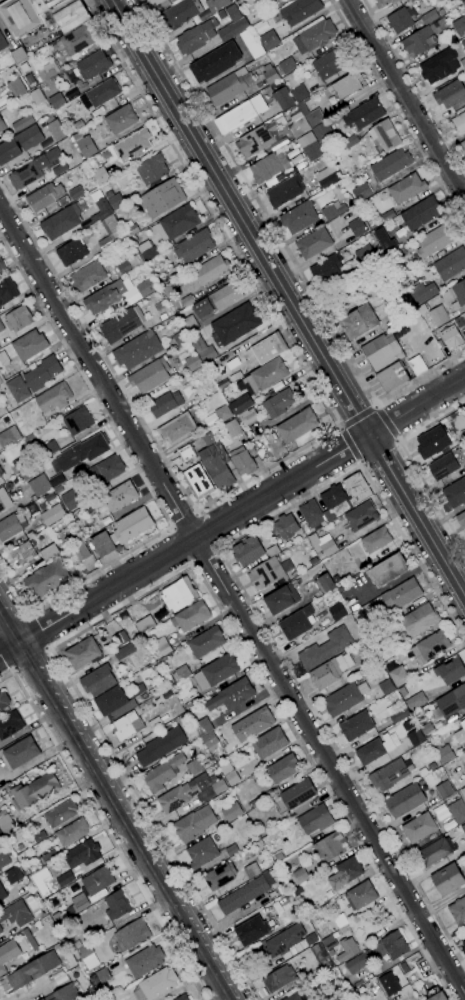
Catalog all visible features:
building: (47, 1)
building: (257, 1)
building: (462, 1)
building: (155, 2)
building: (271, 3)
building: (384, 3)
building: (464, 5)
building: (39, 6)
building: (300, 10)
building: (188, 12)
road: (119, 13)
building: (68, 14)
building: (19, 17)
building: (429, 17)
building: (47, 18)
building: (401, 19)
building: (233, 24)
building: (460, 27)
building: (314, 36)
building: (196, 37)
building: (424, 38)
building: (76, 40)
building: (268, 41)
building: (2, 43)
building: (252, 43)
building: (463, 43)
building: (19, 55)
building: (216, 62)
building: (332, 62)
building: (463, 63)
building: (93, 65)
building: (439, 66)
building: (24, 67)
building: (285, 67)
building: (47, 70)
building: (270, 74)
building: (30, 79)
building: (15, 85)
road: (413, 85)
building: (230, 86)
building: (297, 88)
building: (342, 88)
building: (102, 92)
building: (450, 94)
building: (283, 98)
road: (406, 98)
building: (56, 101)
building: (364, 114)
road: (397, 114)
building: (240, 115)
building: (311, 115)
building: (49, 118)
building: (121, 120)
building: (22, 123)
building: (460, 123)
building: (2, 125)
building: (77, 126)
building: (56, 130)
building: (323, 133)
building: (269, 134)
building: (384, 135)
building: (349, 142)
building: (83, 145)
building: (132, 146)
building: (310, 146)
building: (462, 146)
building: (9, 147)
building: (390, 165)
building: (265, 168)
building: (34, 169)
building: (60, 169)
building: (151, 169)
building: (100, 176)
building: (327, 178)
building: (406, 188)
building: (285, 191)
building: (361, 191)
building: (75, 192)
building: (44, 197)
building: (162, 198)
building: (114, 200)
building: (62, 202)
building: (100, 206)
building: (333, 210)
building: (421, 213)
building: (388, 215)
building: (299, 217)
building: (63, 220)
building: (176, 223)
building: (357, 227)
building: (130, 229)
building: (110, 232)
building: (134, 238)
building: (384, 240)
building: (435, 240)
building: (313, 243)
building: (194, 246)
road: (282, 246)
building: (147, 250)
building: (71, 252)
building: (400, 253)
building: (365, 254)
building: (2, 264)
building: (125, 264)
building: (451, 264)
building: (327, 268)
building: (209, 271)
building: (87, 277)
building: (387, 281)
building: (7, 291)
building: (422, 292)
building: (117, 295)
building: (456, 295)
building: (219, 299)
building: (187, 301)
building: (158, 307)
building: (396, 310)
building: (0, 311)
road: (294, 311)
building: (437, 316)
building: (18, 319)
building: (460, 320)
building: (358, 322)
building: (234, 324)
building: (121, 325)
building: (189, 325)
building: (1, 327)
building: (400, 331)
building: (451, 337)
building: (180, 338)
building: (30, 345)
building: (203, 349)
building: (137, 350)
building: (265, 350)
building: (3, 358)
building: (386, 360)
building: (193, 362)
building: (233, 364)
building: (417, 365)
building: (149, 376)
building: (263, 376)
building: (1, 379)
building: (33, 379)
building: (54, 398)
building: (278, 403)
building: (165, 404)
building: (240, 404)
building: (223, 413)
building: (248, 417)
road: (358, 417)
building: (77, 421)
road: (391, 421)
building: (297, 425)
building: (232, 427)
building: (177, 429)
building: (8, 437)
building: (30, 439)
road: (315, 441)
building: (432, 442)
road: (349, 447)
building: (50, 448)
building: (82, 452)
building: (186, 453)
road: (128, 455)
road: (380, 455)
building: (216, 461)
building: (242, 461)
building: (21, 465)
road: (412, 465)
building: (442, 466)
building: (108, 468)
building: (0, 472)
building: (57, 480)
building: (37, 481)
building: (197, 482)
building: (357, 489)
building: (455, 494)
building: (49, 497)
building: (334, 497)
building: (116, 498)
building: (4, 500)
building: (70, 500)
building: (314, 514)
building: (52, 515)
building: (361, 516)
road: (183, 517)
road: (233, 517)
building: (106, 520)
building: (461, 520)
building: (130, 525)
building: (10, 526)
building: (286, 526)
road: (208, 530)
building: (375, 540)
building: (102, 544)
building: (324, 544)
road: (453, 545)
road: (182, 546)
building: (248, 551)
building: (272, 551)
building: (49, 552)
building: (21, 553)
building: (80, 553)
road: (206, 558)
building: (313, 561)
building: (387, 570)
building: (265, 573)
building: (46, 579)
building: (324, 584)
road: (14, 589)
building: (179, 594)
building: (401, 594)
building: (282, 597)
road: (9, 599)
road: (247, 599)
road: (232, 600)
building: (337, 612)
road: (27, 614)
building: (191, 616)
building: (420, 619)
road: (12, 623)
building: (296, 623)
building: (144, 624)
road: (8, 631)
road: (35, 631)
road: (29, 633)
building: (119, 639)
building: (206, 642)
building: (162, 646)
building: (383, 647)
building: (429, 647)
building: (325, 648)
road: (47, 649)
building: (124, 651)
building: (358, 652)
building: (83, 653)
road: (4, 655)
road: (24, 660)
road: (12, 667)
building: (330, 671)
building: (450, 671)
building: (216, 672)
building: (181, 673)
building: (396, 674)
road: (53, 675)
road: (6, 676)
building: (98, 680)
building: (386, 687)
building: (402, 692)
building: (232, 695)
road: (53, 697)
building: (3, 700)
building: (196, 700)
building: (341, 700)
building: (415, 700)
building: (117, 701)
building: (452, 701)
road: (279, 711)
building: (399, 715)
building: (464, 718)
building: (154, 723)
building: (252, 724)
building: (10, 725)
building: (127, 726)
building: (356, 726)
building: (407, 726)
building: (203, 727)
building: (460, 732)
building: (415, 737)
building: (269, 743)
building: (211, 745)
building: (160, 746)
building: (21, 752)
building: (370, 752)
building: (444, 753)
building: (431, 766)
building: (194, 767)
building: (283, 769)
building: (163, 772)
building: (229, 774)
building: (389, 775)
building: (255, 778)
building: (218, 786)
building: (444, 790)
building: (35, 791)
building: (463, 791)
building: (181, 794)
building: (295, 795)
building: (261, 800)
building: (405, 801)
building: (231, 811)
building: (457, 811)
building: (60, 813)
building: (315, 820)
building: (6, 823)
building: (193, 824)
road: (152, 825)
building: (418, 828)
building: (463, 828)
building: (72, 832)
building: (0, 836)
building: (39, 836)
road: (108, 836)
road: (129, 837)
building: (330, 847)
road: (151, 850)
building: (231, 850)
building: (435, 851)
building: (202, 853)
building: (82, 854)
building: (278, 856)
building: (48, 857)
building: (4, 858)
building: (251, 870)
building: (348, 870)
building: (13, 875)
building: (300, 875)
building: (220, 876)
building: (65, 879)
building: (448, 879)
building: (97, 881)
building: (2, 893)
building: (243, 895)
building: (361, 895)
building: (80, 902)
building: (116, 905)
building: (308, 907)
building: (458, 911)
building: (16, 914)
building: (57, 919)
building: (337, 922)
building: (32, 929)
building: (1, 930)
building: (251, 931)
building: (134, 933)
building: (311, 939)
building: (30, 940)
building: (284, 940)
building: (329, 942)
building: (76, 944)
building: (463, 947)
building: (347, 949)
building: (84, 951)
building: (379, 952)
building: (8, 953)
building: (321, 957)
building: (144, 961)
building: (33, 970)
building: (103, 975)
building: (59, 976)
building: (278, 978)
building: (388, 983)
building: (156, 985)
building: (65, 993)
building: (297, 996)
building: (182, 997)
building: (438, 997)

